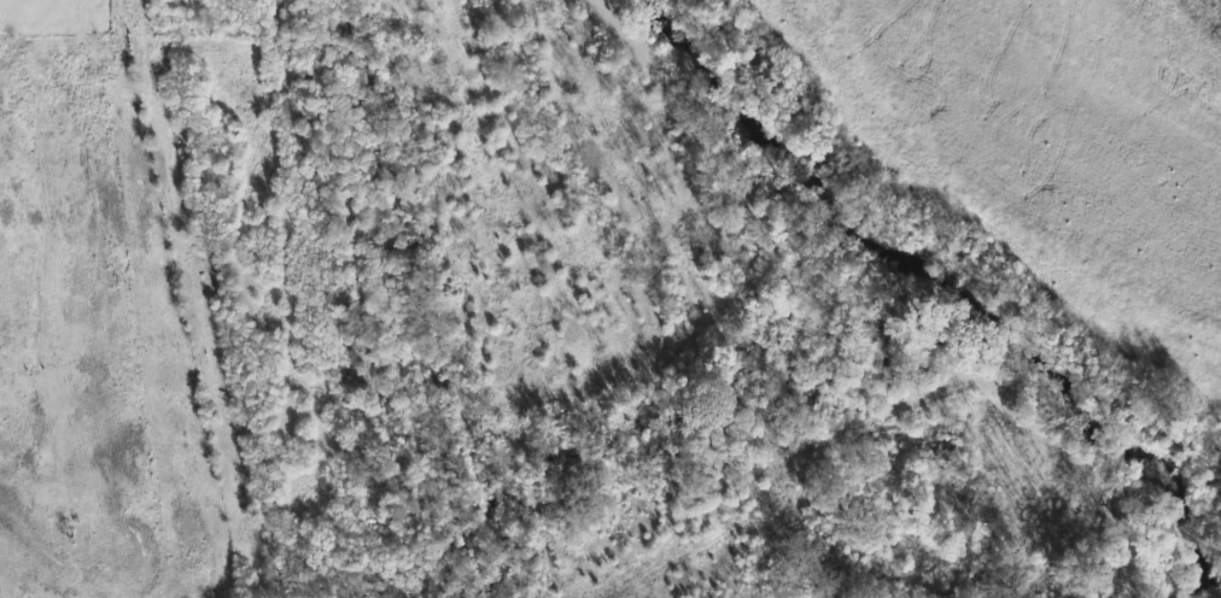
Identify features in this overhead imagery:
road: (851, 368)

